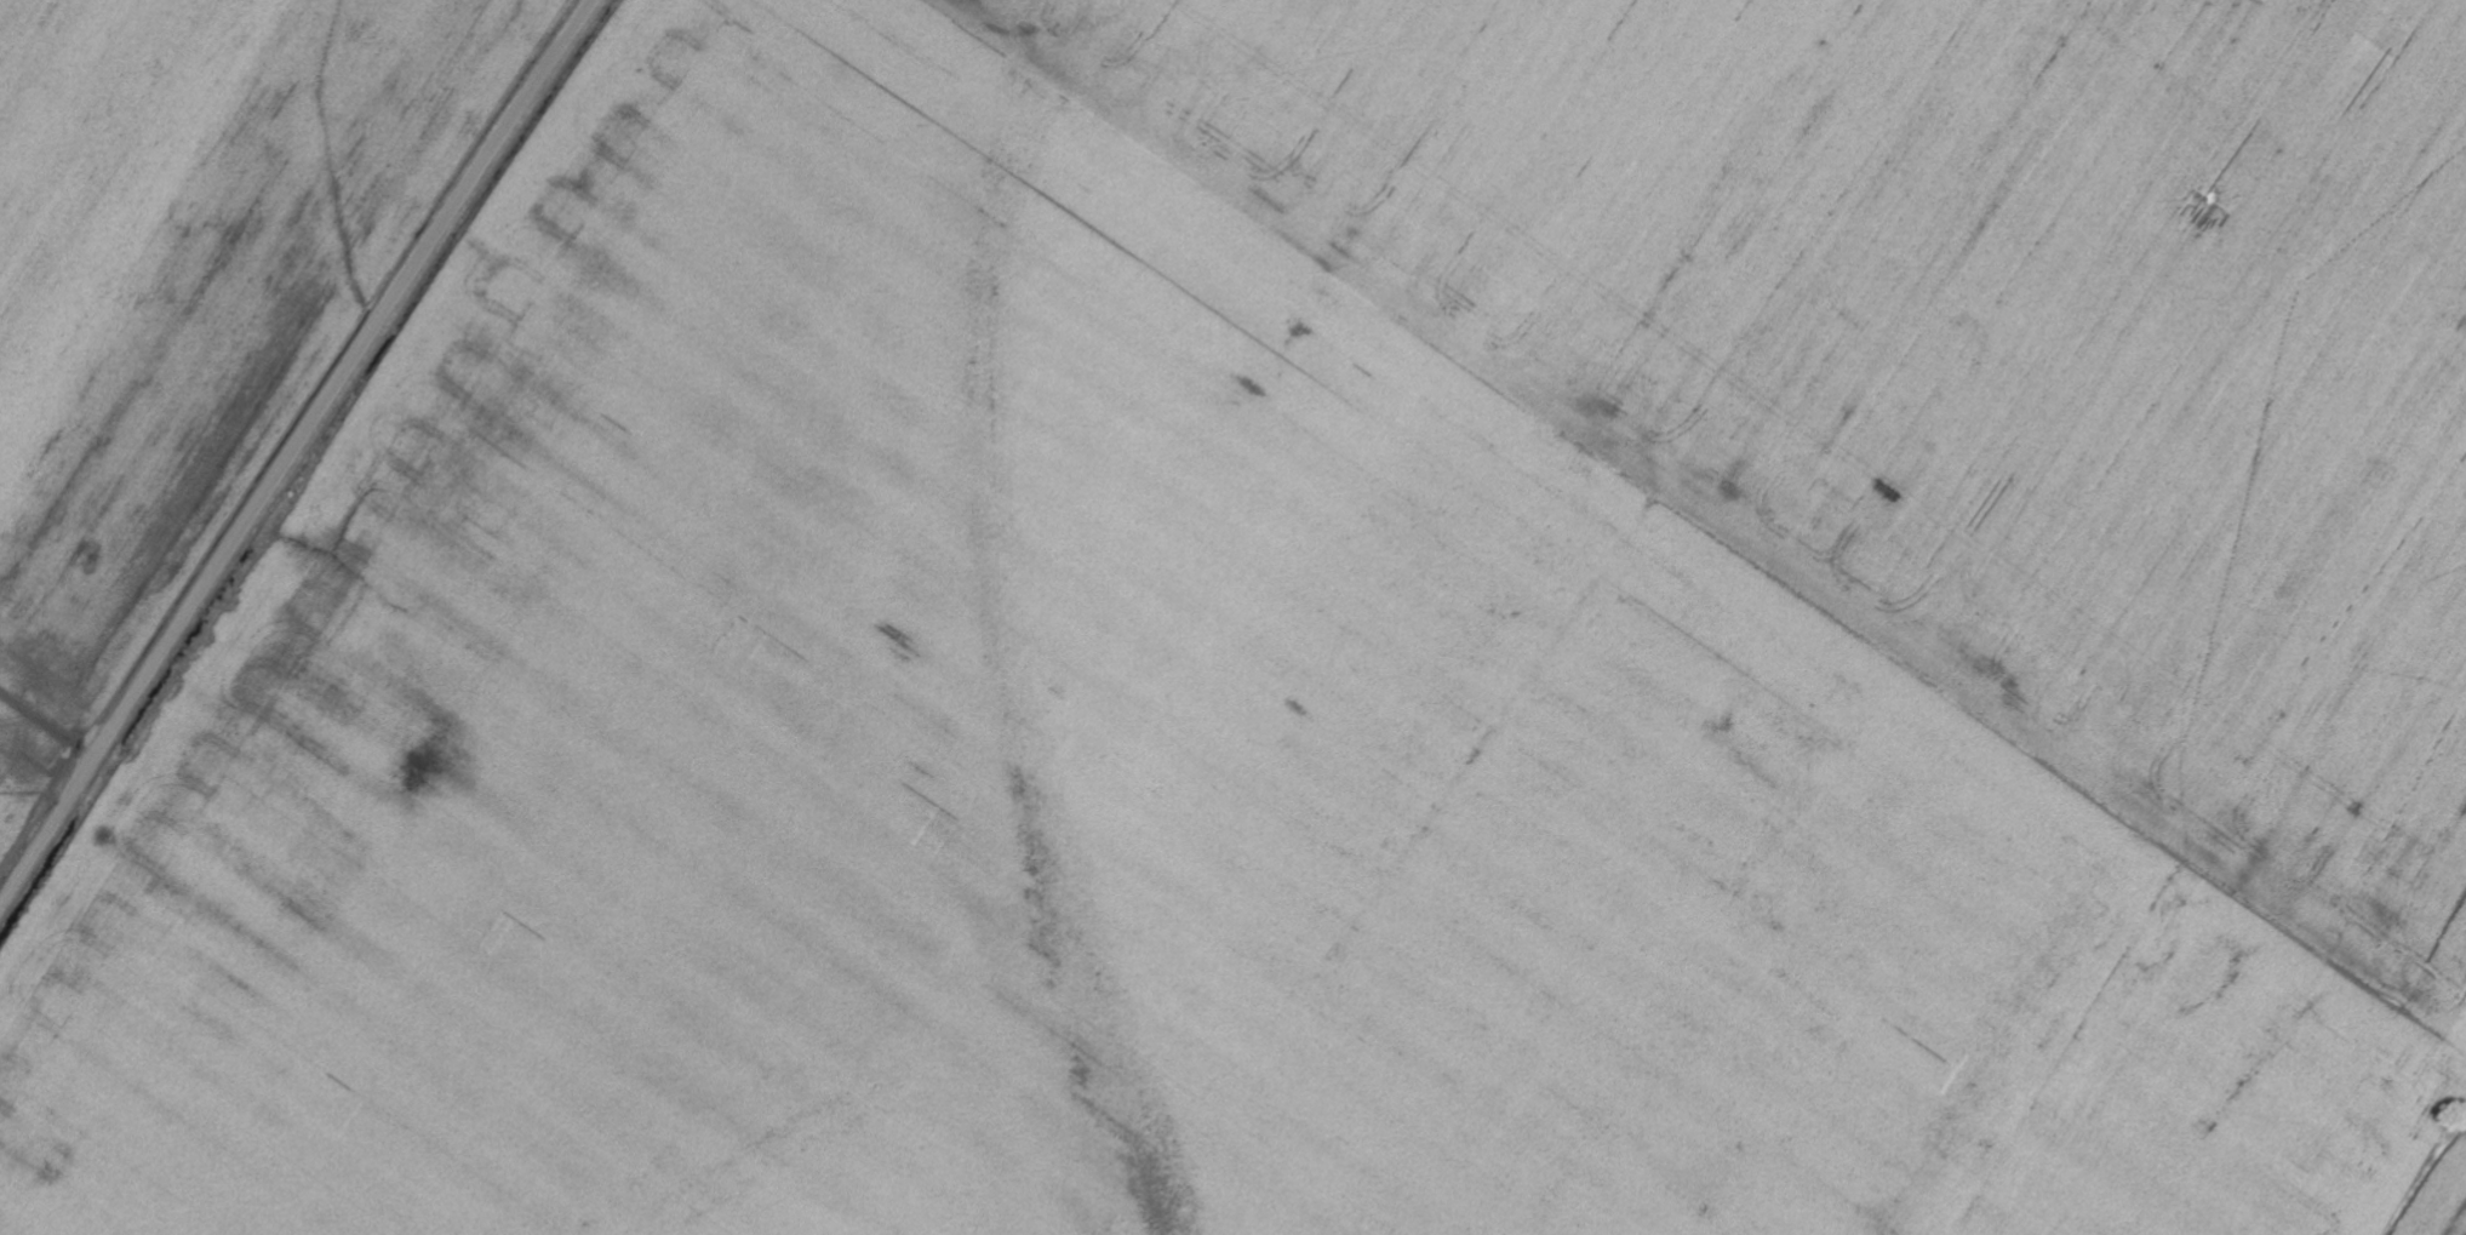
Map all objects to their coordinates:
road: (293, 453)

